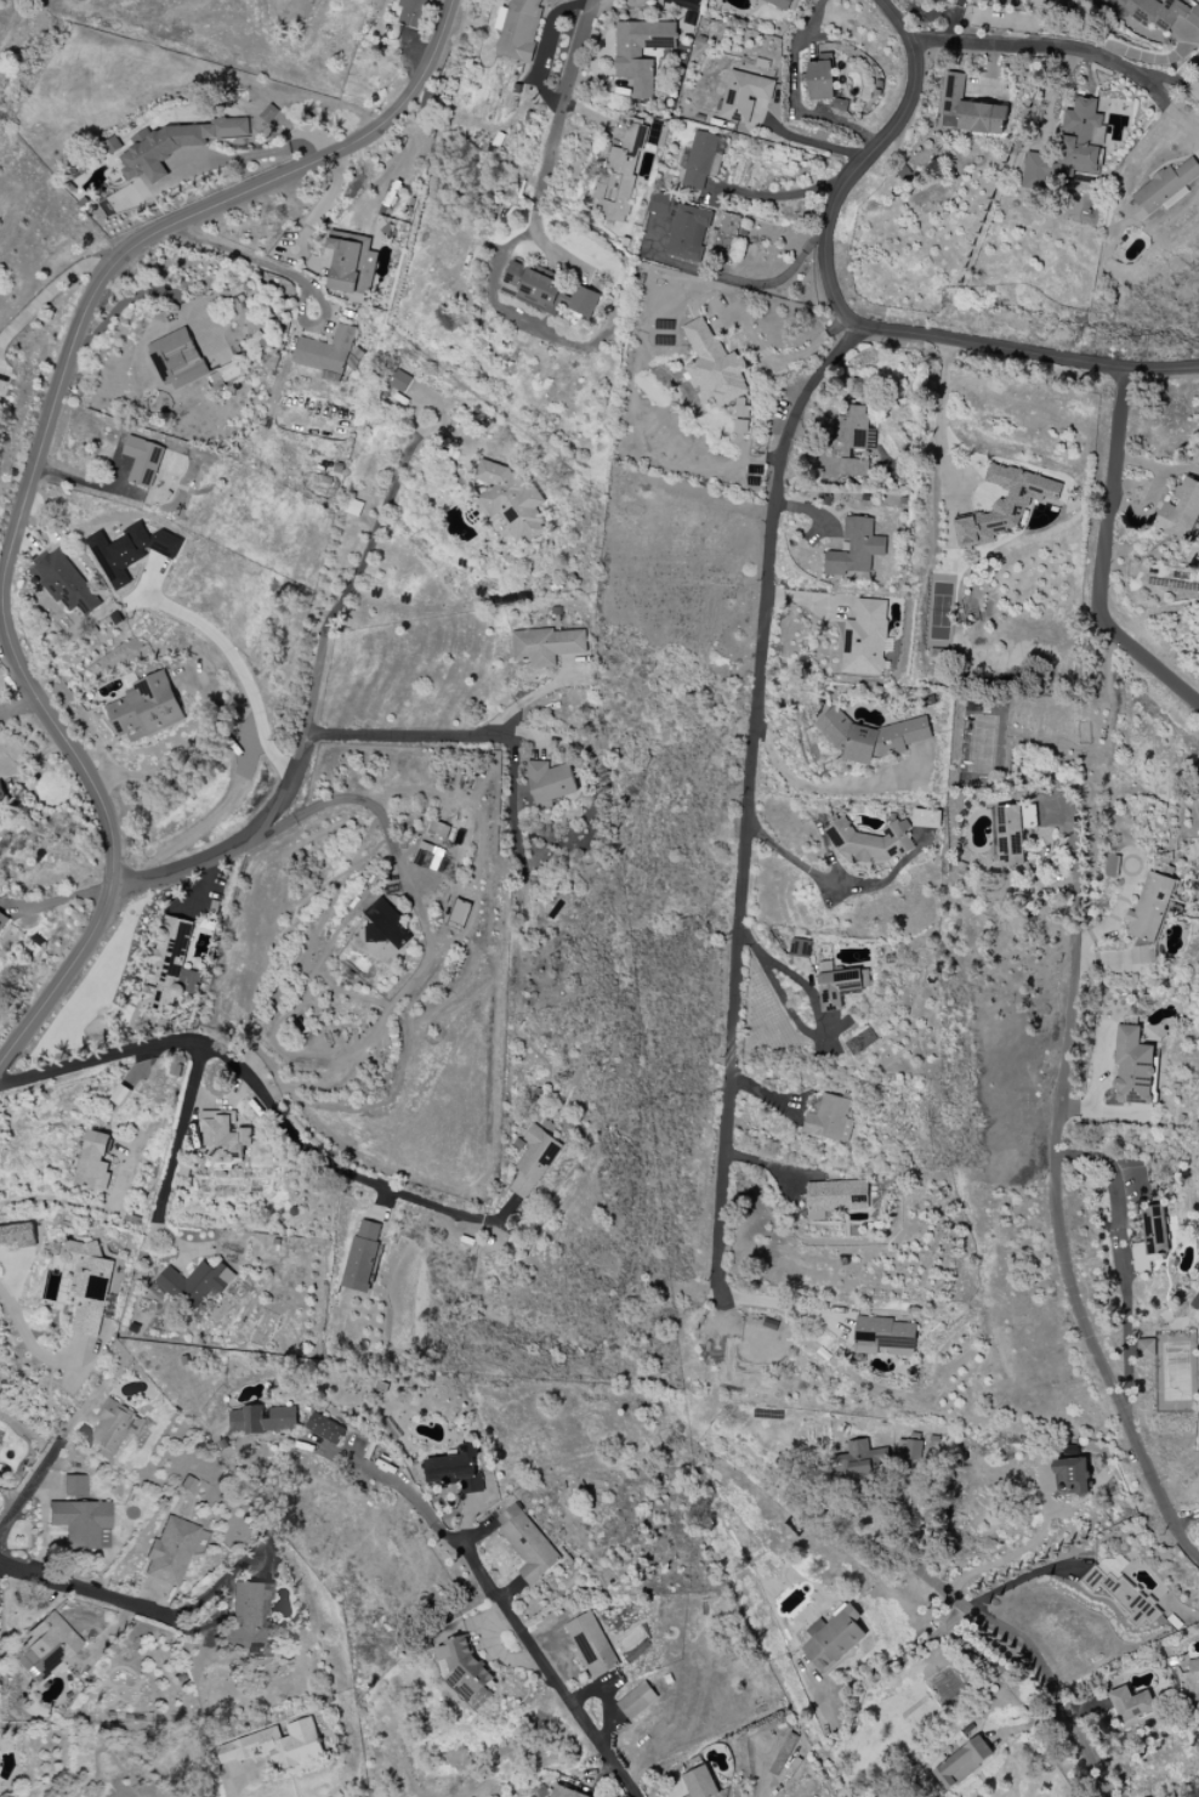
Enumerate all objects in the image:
building: (779, 2)
building: (683, 4)
building: (411, 12)
building: (1161, 17)
building: (518, 29)
road: (1068, 50)
building: (640, 52)
road: (1146, 55)
building: (820, 78)
road: (546, 95)
building: (744, 95)
road: (794, 95)
building: (970, 110)
building: (1079, 137)
road: (811, 142)
building: (174, 144)
building: (703, 159)
building: (1036, 171)
building: (619, 175)
building: (1164, 186)
road: (780, 199)
road: (317, 210)
road: (536, 211)
building: (682, 226)
building: (352, 262)
road: (285, 272)
road: (739, 279)
road: (49, 289)
building: (547, 291)
road: (491, 305)
road: (846, 316)
building: (325, 351)
building: (177, 359)
building: (714, 364)
building: (398, 380)
road: (941, 425)
building: (854, 440)
building: (142, 460)
road: (38, 464)
building: (510, 500)
building: (1005, 505)
road: (812, 509)
building: (1180, 511)
building: (854, 548)
building: (129, 551)
road: (1098, 557)
road: (350, 582)
building: (66, 583)
building: (865, 639)
building: (546, 645)
road: (238, 667)
building: (146, 708)
road: (22, 709)
road: (404, 732)
building: (871, 736)
road: (184, 753)
road: (34, 760)
building: (550, 781)
road: (283, 788)
road: (823, 789)
building: (1, 793)
road: (511, 799)
road: (337, 800)
road: (215, 816)
building: (926, 818)
building: (1012, 832)
building: (870, 840)
road: (744, 855)
building: (428, 856)
road: (796, 862)
road: (1075, 874)
building: (1150, 907)
building: (459, 913)
building: (2, 920)
building: (383, 931)
building: (1140, 954)
building: (169, 966)
building: (840, 986)
road: (802, 1028)
building: (1132, 1067)
road: (248, 1079)
building: (826, 1116)
building: (223, 1135)
road: (175, 1160)
building: (95, 1161)
building: (534, 1161)
building: (837, 1195)
road: (66, 1200)
building: (1154, 1230)
building: (17, 1235)
building: (362, 1255)
road: (1123, 1262)
road: (1068, 1270)
building: (194, 1283)
building: (87, 1286)
building: (885, 1336)
road: (27, 1342)
building: (1146, 1348)
building: (261, 1419)
building: (113, 1427)
building: (324, 1428)
building: (916, 1447)
building: (862, 1459)
building: (456, 1469)
road: (41, 1472)
building: (1072, 1476)
building: (73, 1485)
building: (81, 1523)
building: (527, 1543)
building: (170, 1551)
road: (1006, 1558)
road: (1021, 1578)
road: (491, 1593)
building: (1121, 1594)
road: (140, 1604)
building: (834, 1638)
building: (591, 1645)
building: (44, 1648)
road: (887, 1657)
road: (1035, 1659)
building: (465, 1671)
building: (1194, 1672)
road: (812, 1676)
road: (606, 1696)
building: (636, 1700)
building: (275, 1746)
building: (962, 1762)
road: (239, 1780)
building: (700, 1782)
building: (564, 1792)

